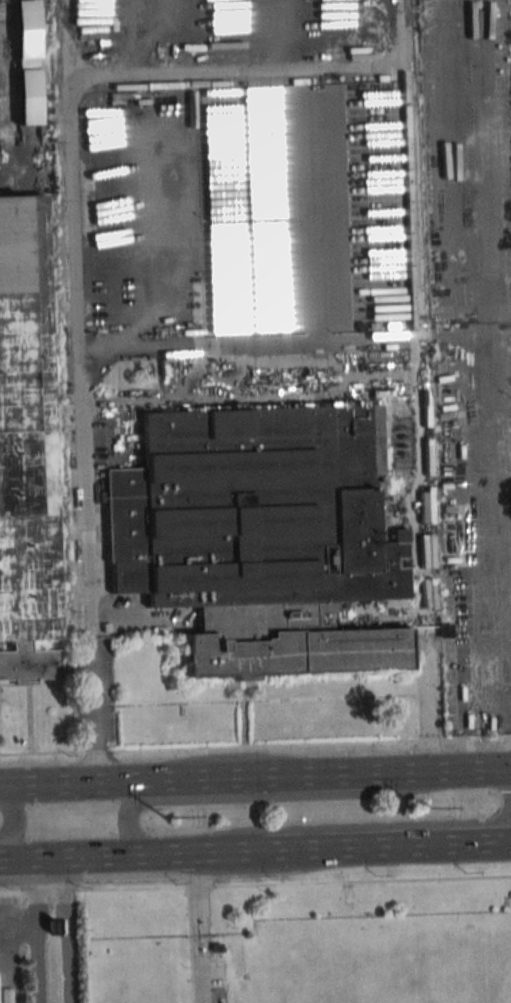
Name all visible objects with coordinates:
building: (25, 62)
road: (233, 71)
road: (319, 186)
road: (160, 252)
road: (286, 344)
road: (99, 349)
road: (452, 385)
road: (78, 391)
building: (25, 441)
building: (248, 510)
building: (285, 644)
road: (255, 746)
traffic signals: (498, 769)
road: (439, 770)
road: (261, 777)
road: (504, 781)
road: (76, 783)
road: (248, 797)
power tower: (420, 811)
road: (11, 814)
power tower: (165, 820)
road: (353, 827)
road: (503, 842)
road: (381, 846)
road: (231, 852)
road: (97, 856)
road: (255, 885)
road: (17, 917)
road: (197, 927)
road: (65, 929)
road: (34, 930)

